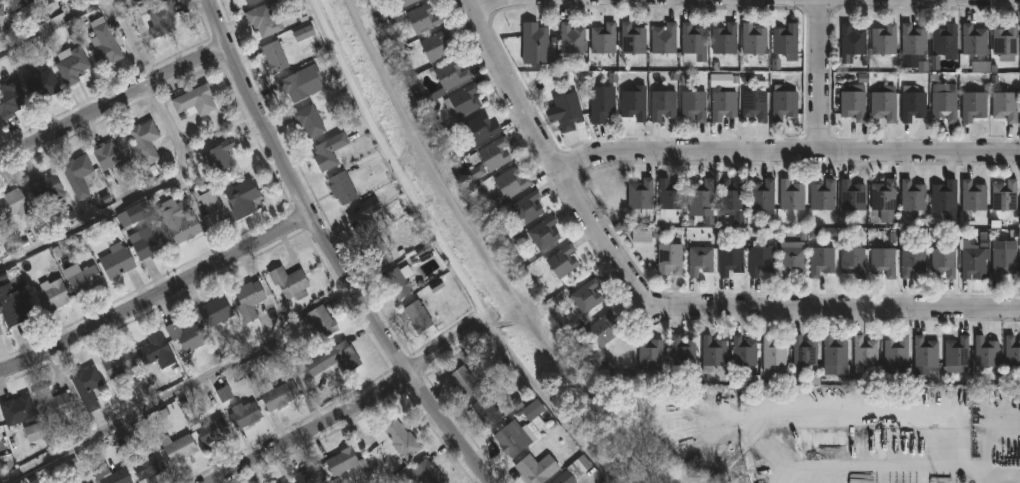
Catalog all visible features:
building: (147, 0)
road: (474, 0)
building: (48, 1)
building: (248, 1)
building: (23, 2)
building: (406, 2)
road: (94, 12)
building: (1, 15)
building: (159, 18)
building: (420, 19)
building: (262, 20)
building: (571, 38)
building: (603, 38)
building: (631, 38)
building: (663, 38)
building: (692, 38)
building: (724, 39)
building: (753, 39)
building: (784, 39)
building: (883, 39)
building: (912, 39)
building: (974, 40)
building: (851, 41)
building: (944, 41)
building: (1006, 42)
building: (103, 43)
building: (534, 43)
building: (435, 46)
building: (274, 56)
building: (71, 63)
building: (450, 73)
road: (819, 77)
building: (299, 82)
building: (40, 83)
building: (10, 100)
building: (193, 100)
road: (113, 101)
building: (462, 101)
building: (755, 102)
building: (854, 102)
building: (600, 103)
building: (633, 103)
building: (783, 103)
building: (883, 103)
building: (912, 103)
building: (945, 103)
building: (663, 104)
building: (723, 104)
building: (694, 105)
building: (973, 105)
building: (1005, 106)
building: (568, 110)
building: (308, 120)
road: (170, 128)
building: (479, 128)
building: (143, 140)
building: (328, 151)
building: (109, 153)
building: (494, 154)
road: (791, 154)
building: (217, 156)
building: (77, 177)
building: (511, 182)
building: (44, 187)
building: (341, 187)
building: (670, 195)
building: (762, 195)
building: (790, 195)
building: (822, 195)
building: (852, 195)
building: (944, 195)
building: (640, 196)
building: (972, 196)
building: (1005, 197)
building: (241, 198)
building: (702, 198)
building: (731, 198)
building: (911, 198)
building: (883, 199)
building: (209, 201)
building: (16, 207)
building: (526, 207)
building: (131, 213)
building: (363, 215)
road: (90, 220)
building: (179, 221)
building: (122, 230)
building: (543, 233)
building: (147, 242)
road: (332, 251)
building: (376, 252)
road: (449, 253)
railway: (485, 257)
building: (669, 258)
building: (791, 258)
building: (1002, 259)
building: (116, 260)
building: (562, 260)
building: (699, 260)
building: (730, 260)
building: (761, 260)
building: (972, 260)
building: (821, 261)
building: (852, 261)
building: (883, 261)
building: (912, 261)
building: (943, 261)
building: (84, 279)
building: (398, 281)
building: (288, 282)
road: (168, 289)
building: (51, 295)
building: (585, 296)
building: (248, 299)
building: (14, 305)
road: (656, 310)
building: (214, 312)
building: (416, 316)
building: (319, 321)
building: (603, 329)
building: (0, 333)
building: (185, 335)
building: (0, 336)
road: (450, 344)
building: (155, 351)
building: (682, 351)
building: (1012, 351)
building: (896, 352)
building: (986, 352)
building: (743, 353)
building: (772, 353)
building: (803, 353)
building: (650, 354)
building: (712, 354)
building: (833, 354)
building: (956, 354)
building: (865, 355)
building: (925, 356)
building: (333, 358)
building: (118, 362)
building: (461, 382)
building: (85, 387)
road: (185, 392)
building: (277, 393)
building: (52, 402)
building: (16, 410)
building: (485, 412)
building: (243, 414)
road: (313, 430)
building: (210, 431)
building: (512, 438)
building: (395, 439)
building: (177, 447)
building: (341, 461)
building: (145, 464)
building: (536, 468)
building: (573, 471)
building: (427, 472)
road: (1003, 474)
building: (110, 475)
building: (309, 475)
building: (284, 482)

